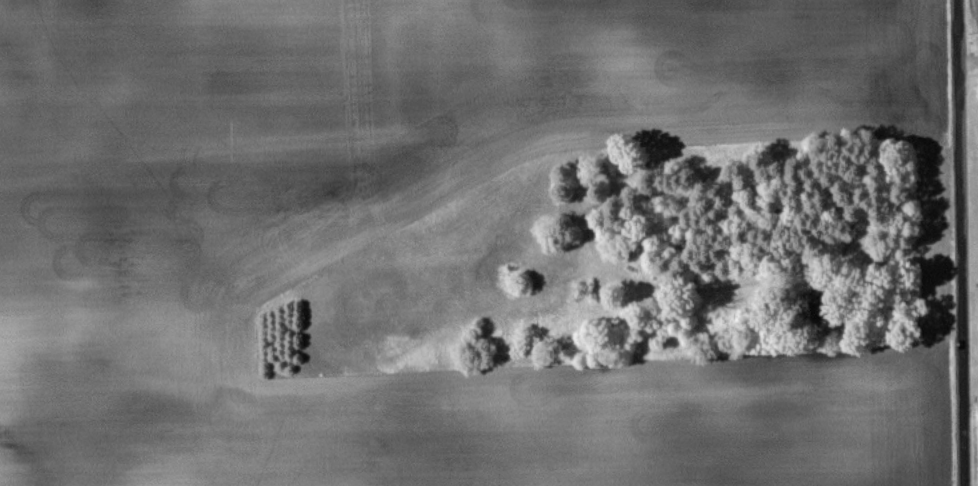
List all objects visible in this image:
road: (964, 71)
road: (955, 243)

